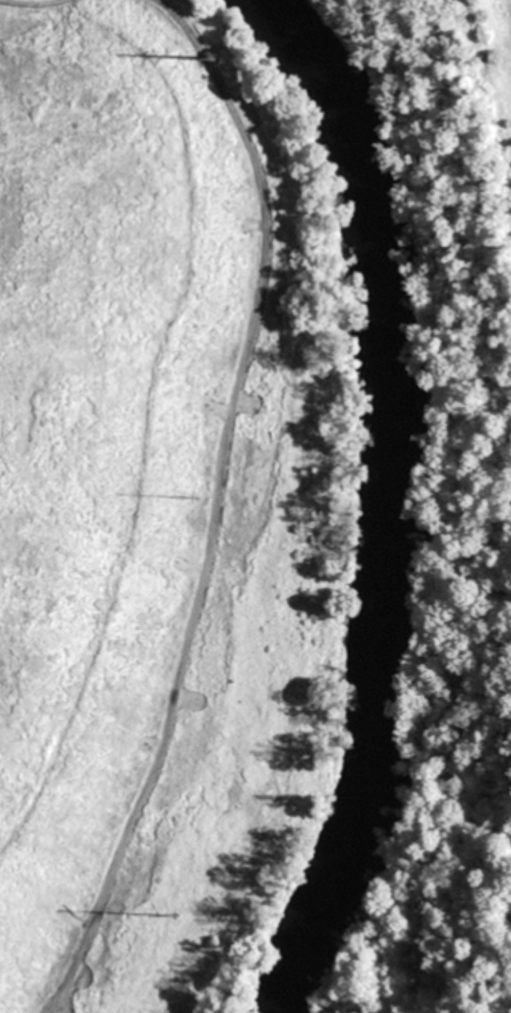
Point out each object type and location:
road: (41, 11)
power tower: (218, 58)
power tower: (197, 496)
river: (397, 502)
road: (223, 503)
power tower: (177, 915)

